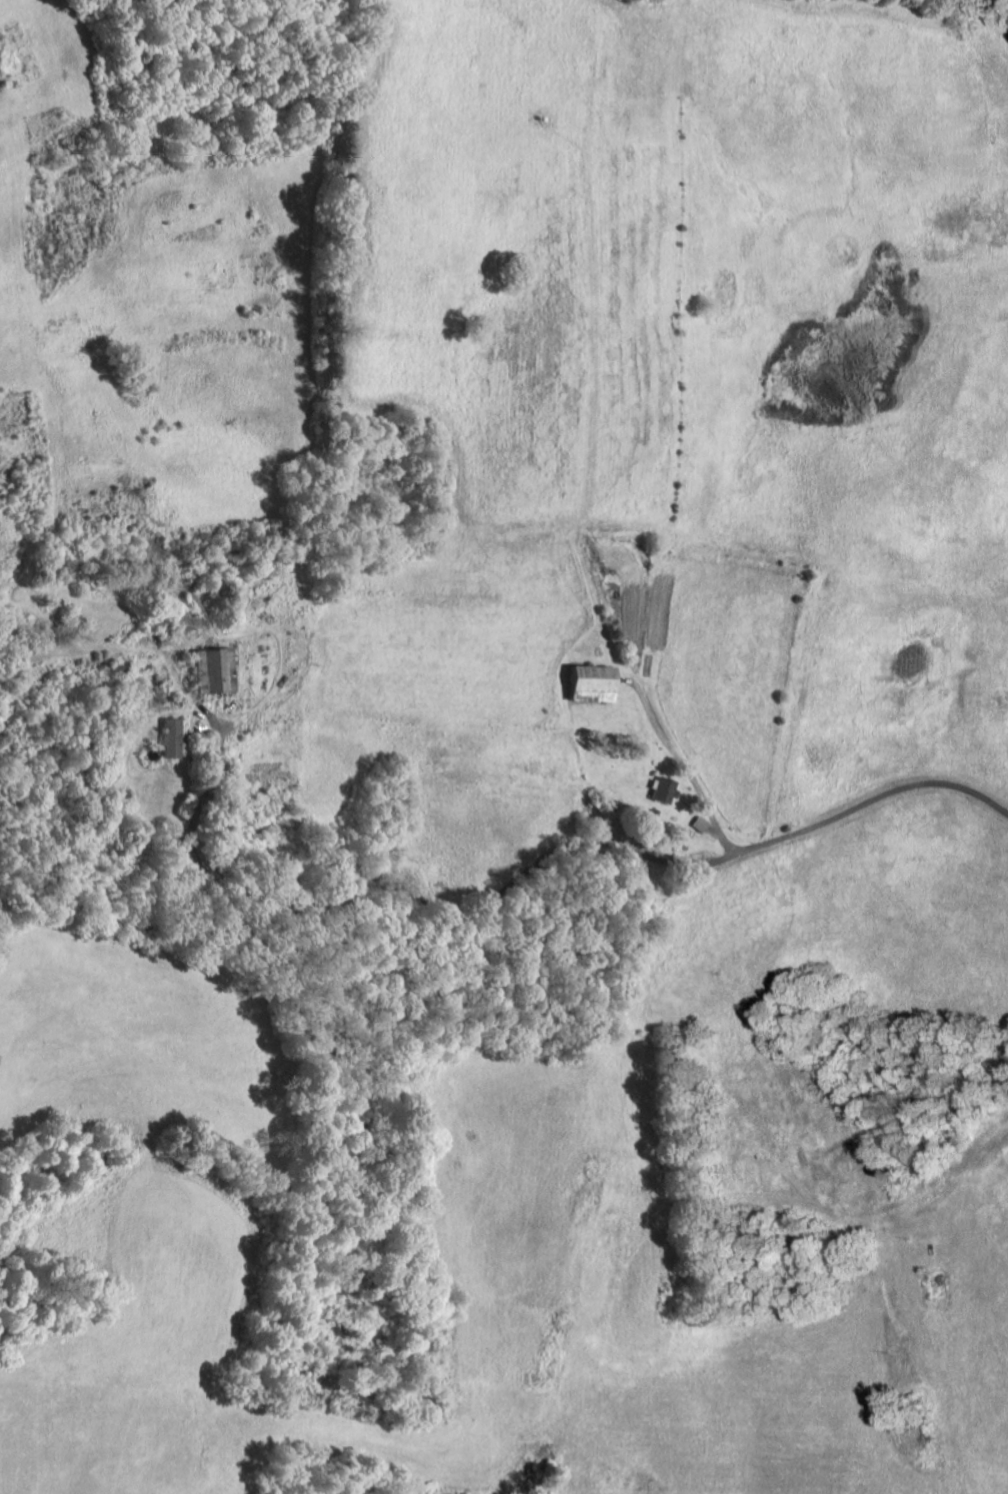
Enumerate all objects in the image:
building: (210, 671)
building: (590, 683)
road: (291, 717)
building: (171, 738)
building: (663, 790)
building: (700, 824)
road: (671, 863)
road: (209, 871)
building: (939, 1288)

